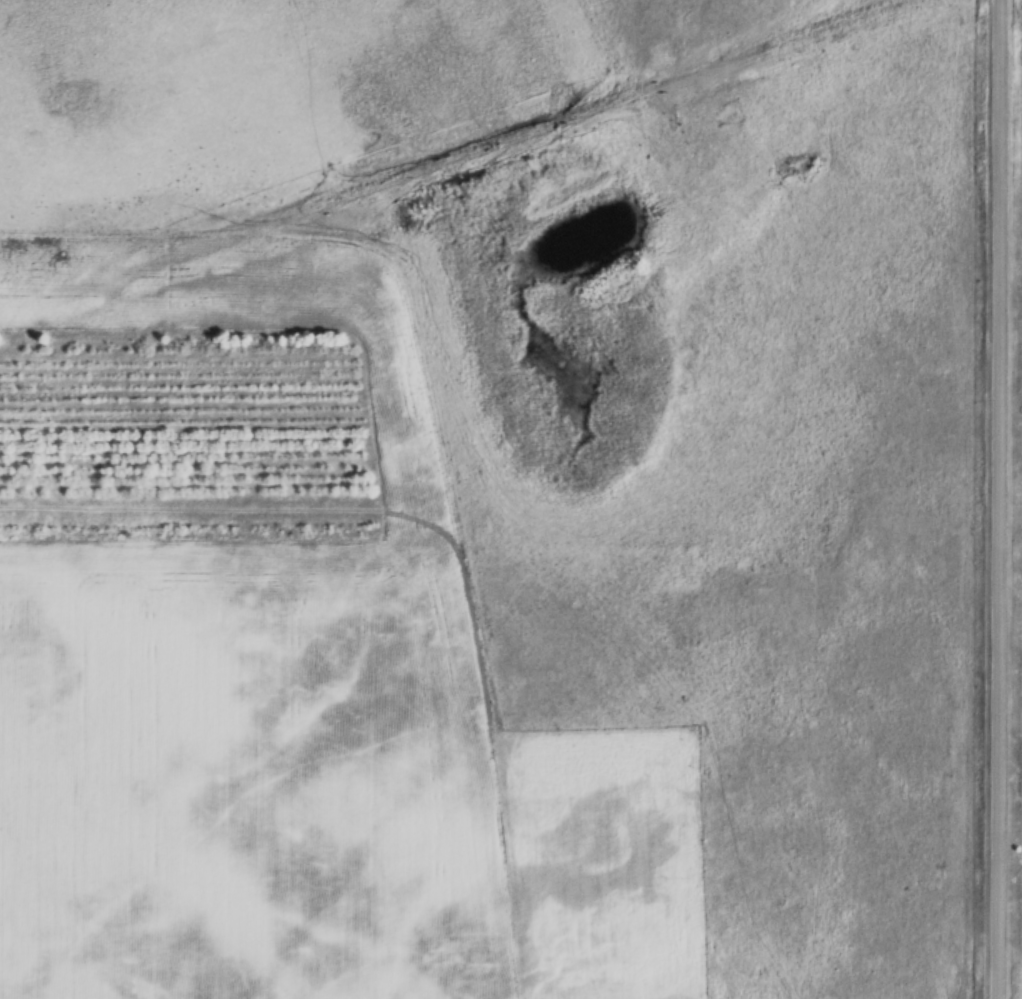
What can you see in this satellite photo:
road: (1006, 499)

